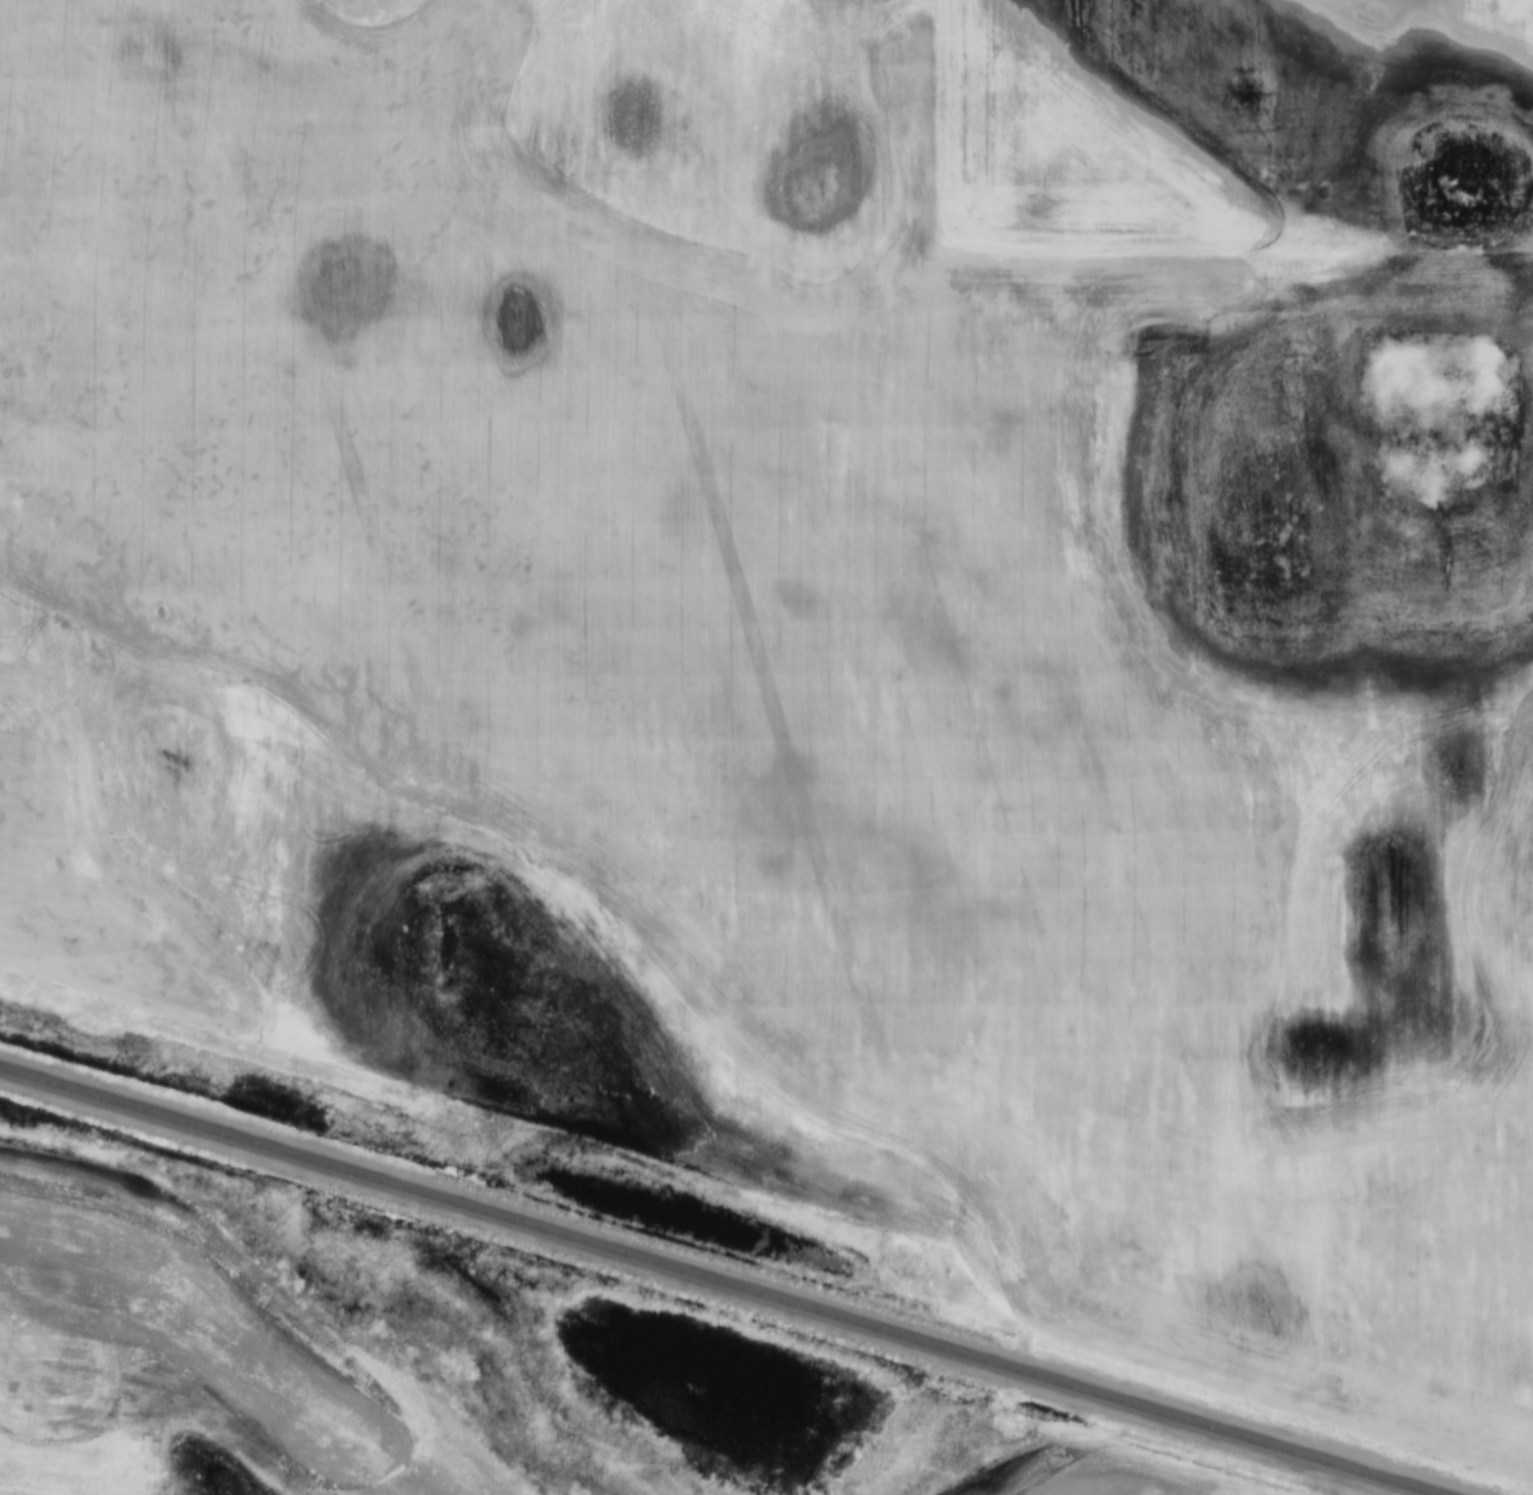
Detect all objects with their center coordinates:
railway: (713, 1282)

